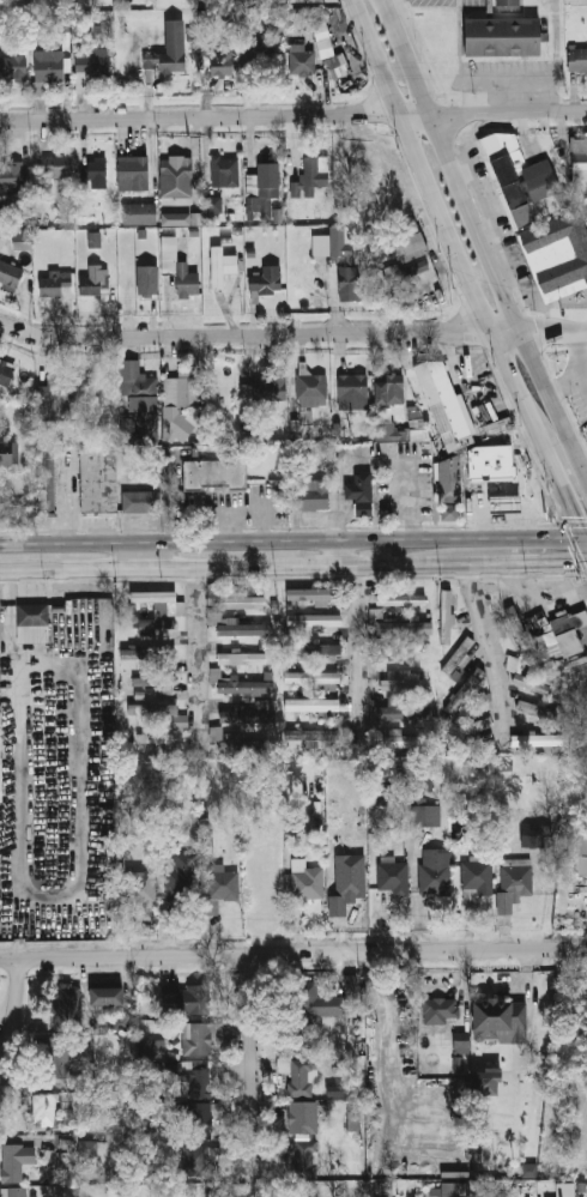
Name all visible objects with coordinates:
building: (509, 0)
parking lot: (450, 4)
building: (504, 34)
building: (328, 50)
building: (169, 53)
road: (376, 56)
road: (410, 58)
building: (302, 59)
building: (577, 59)
building: (262, 65)
building: (48, 66)
building: (222, 66)
building: (91, 67)
building: (13, 68)
parking lot: (508, 75)
road: (293, 115)
building: (580, 158)
road: (452, 161)
building: (58, 167)
building: (176, 170)
building: (225, 170)
building: (11, 173)
building: (98, 173)
building: (133, 173)
building: (315, 173)
building: (520, 174)
building: (270, 181)
parking lot: (490, 188)
building: (18, 204)
building: (212, 205)
building: (139, 213)
building: (175, 218)
building: (22, 240)
building: (93, 240)
building: (410, 242)
building: (558, 255)
building: (347, 260)
building: (177, 266)
building: (220, 266)
parking lot: (521, 267)
road: (462, 268)
building: (399, 272)
building: (10, 274)
building: (266, 279)
building: (147, 280)
building: (93, 282)
building: (55, 283)
parking lot: (576, 314)
road: (292, 332)
road: (527, 344)
road: (580, 356)
building: (6, 373)
building: (352, 386)
building: (138, 388)
building: (265, 388)
building: (313, 389)
building: (388, 389)
building: (56, 400)
building: (178, 404)
building: (446, 404)
parking lot: (580, 406)
building: (307, 422)
building: (391, 430)
building: (10, 453)
road: (370, 461)
building: (495, 463)
building: (214, 473)
building: (48, 477)
road: (552, 477)
building: (101, 478)
building: (450, 479)
building: (359, 494)
building: (310, 495)
building: (141, 496)
building: (503, 502)
gas station: (503, 502)
building: (450, 512)
traffic signals: (569, 516)
road: (581, 532)
road: (288, 537)
road: (581, 545)
road: (344, 550)
road: (140, 552)
road: (532, 561)
traffic signals: (575, 561)
road: (240, 564)
building: (311, 594)
building: (398, 598)
building: (162, 600)
building: (241, 601)
road: (8, 610)
building: (446, 615)
building: (34, 616)
building: (315, 619)
building: (581, 619)
building: (510, 623)
building: (155, 625)
building: (399, 625)
building: (244, 629)
building: (567, 629)
building: (35, 636)
road: (486, 645)
building: (296, 648)
road: (195, 649)
building: (322, 649)
road: (43, 651)
building: (398, 652)
building: (147, 654)
road: (356, 654)
building: (458, 654)
building: (241, 658)
building: (579, 666)
building: (311, 678)
building: (531, 678)
building: (401, 679)
building: (155, 681)
building: (243, 687)
building: (467, 688)
building: (484, 701)
building: (262, 705)
building: (313, 706)
building: (540, 711)
building: (404, 712)
building: (161, 713)
building: (247, 715)
building: (467, 729)
building: (216, 733)
building: (315, 736)
building: (397, 737)
building: (156, 738)
building: (540, 739)
building: (1, 758)
building: (486, 760)
building: (506, 766)
building: (423, 780)
building: (425, 815)
building: (535, 835)
building: (206, 841)
building: (580, 856)
building: (436, 871)
building: (474, 873)
building: (182, 876)
building: (394, 877)
building: (514, 882)
building: (223, 883)
building: (308, 883)
building: (351, 883)
building: (140, 885)
road: (292, 955)
building: (105, 996)
building: (189, 999)
building: (316, 1000)
building: (69, 1005)
road: (14, 1011)
building: (441, 1011)
building: (498, 1017)
building: (120, 1022)
building: (299, 1036)
building: (198, 1038)
building: (460, 1042)
building: (62, 1054)
building: (113, 1057)
road: (249, 1059)
building: (298, 1075)
building: (198, 1080)
building: (484, 1083)
building: (335, 1089)
building: (46, 1111)
building: (302, 1118)
building: (199, 1123)
building: (96, 1149)
building: (208, 1153)
building: (305, 1160)
building: (16, 1161)
building: (450, 1190)
building: (141, 1191)
building: (18, 1192)
building: (383, 1192)
building: (573, 1192)
road: (507, 1193)

